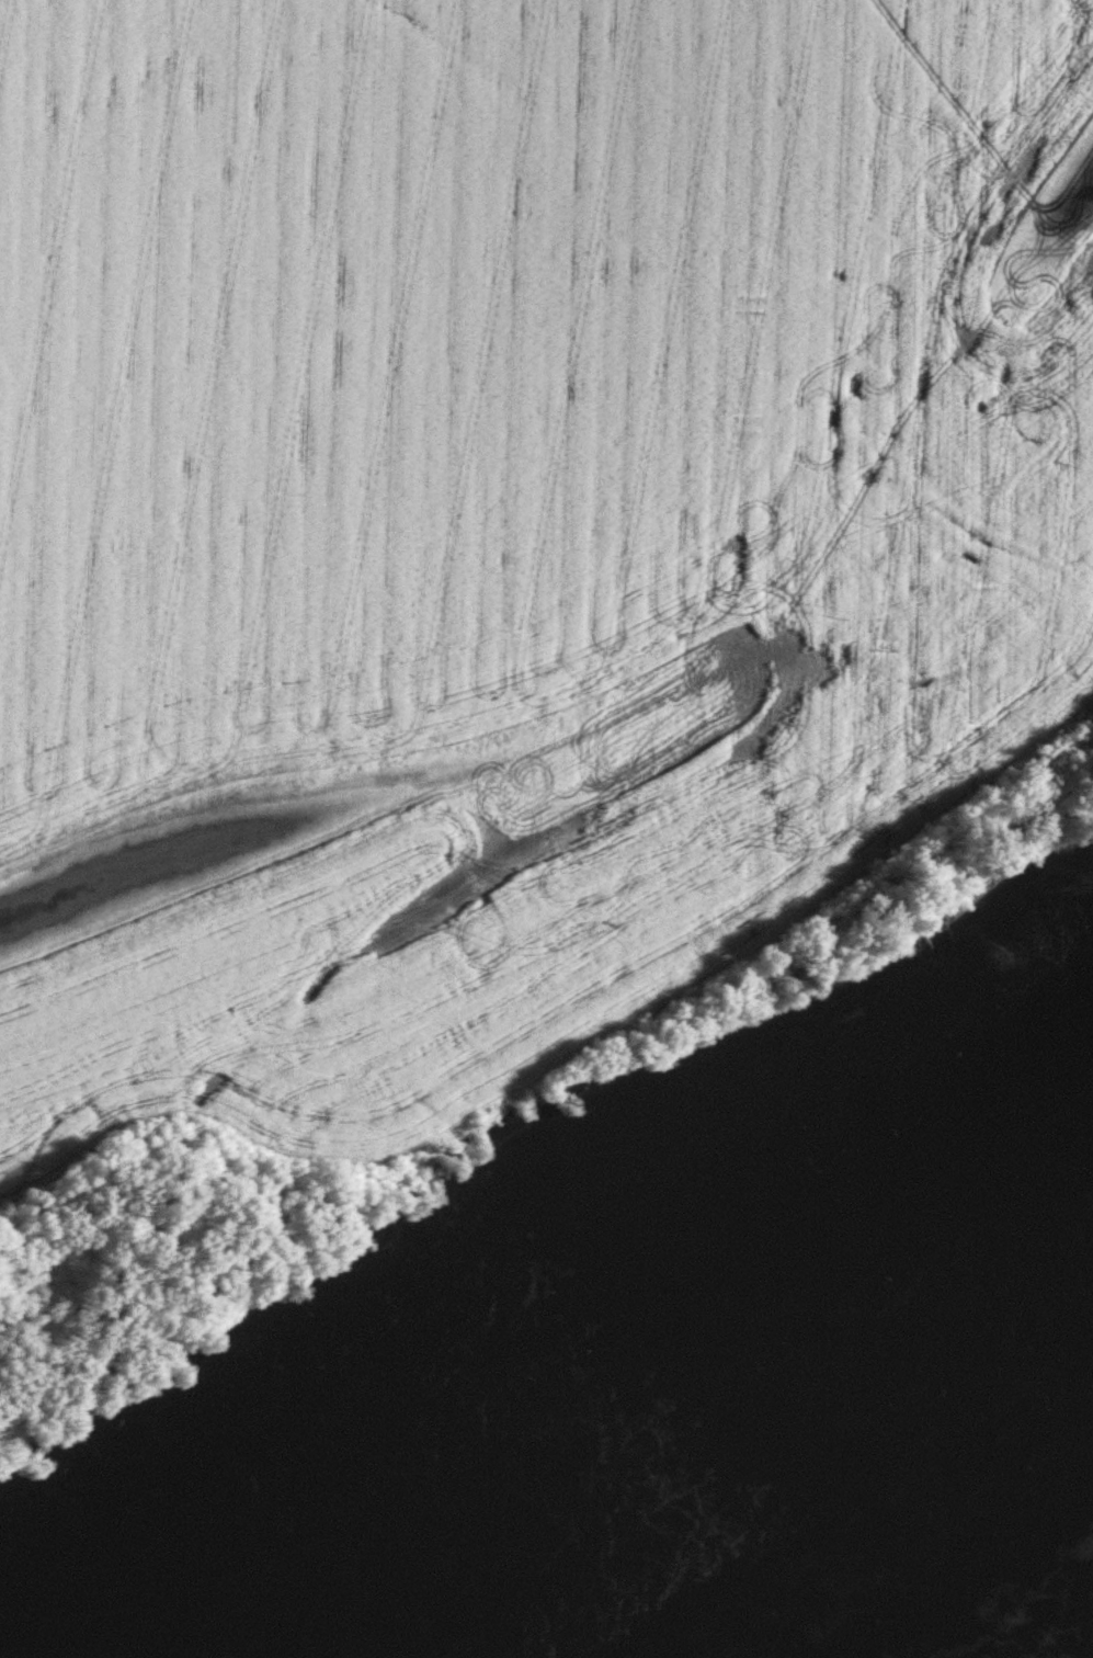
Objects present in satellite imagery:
river: (1066, 1644)

